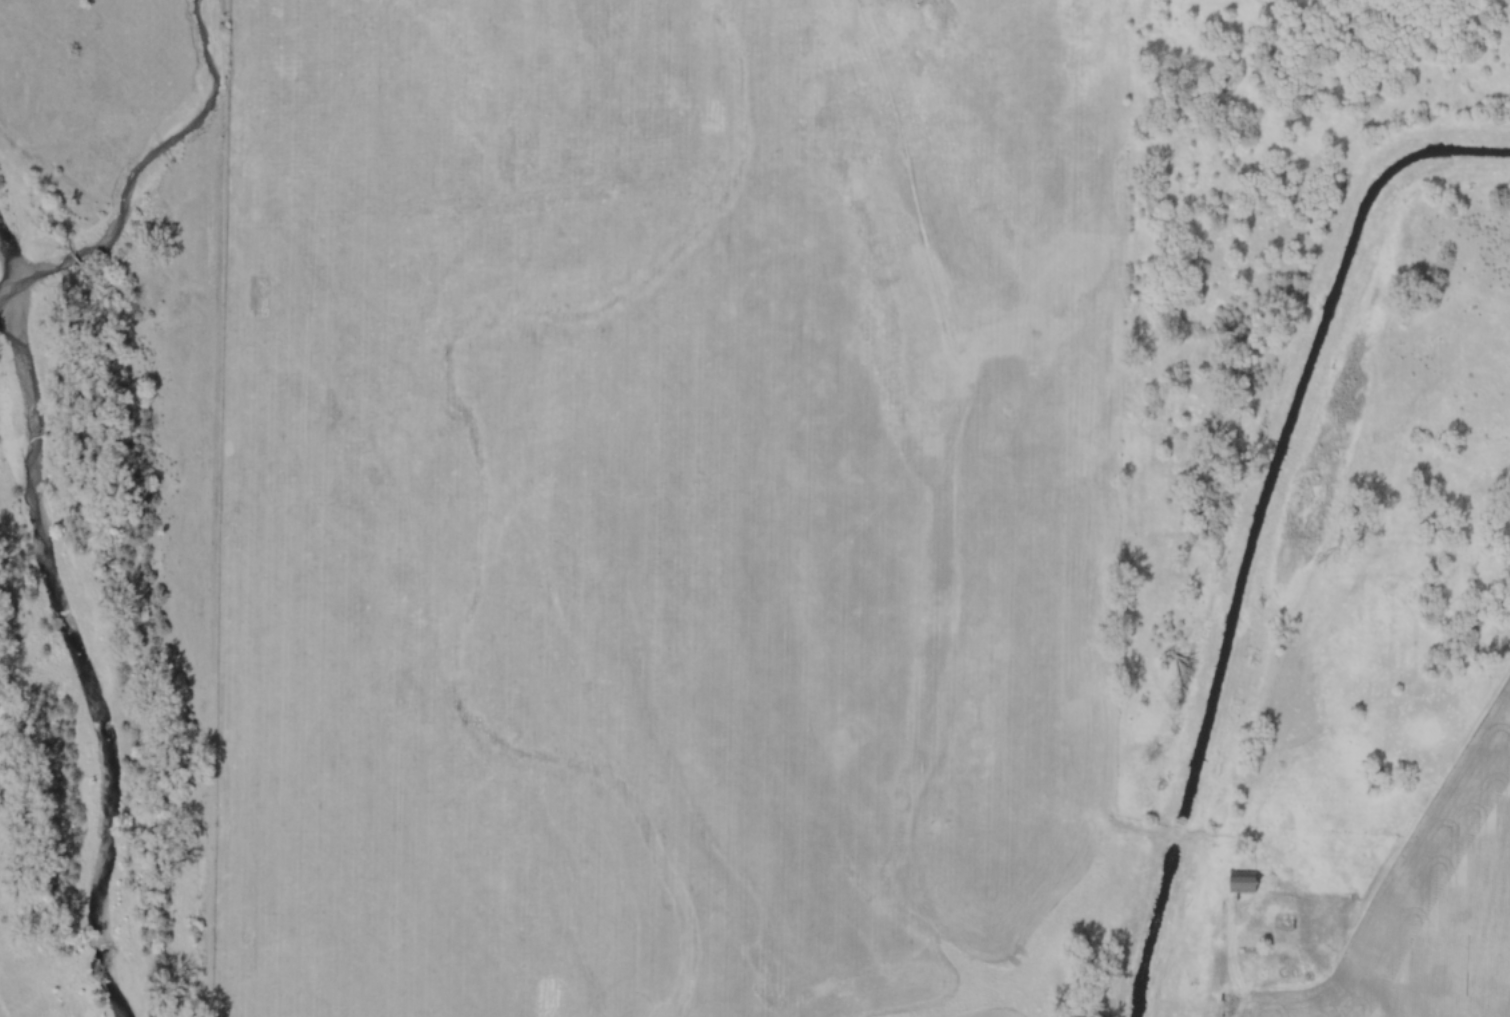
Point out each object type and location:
building: (1275, 840)
building: (1240, 882)
building: (1345, 884)
building: (1282, 913)
road: (1319, 965)

